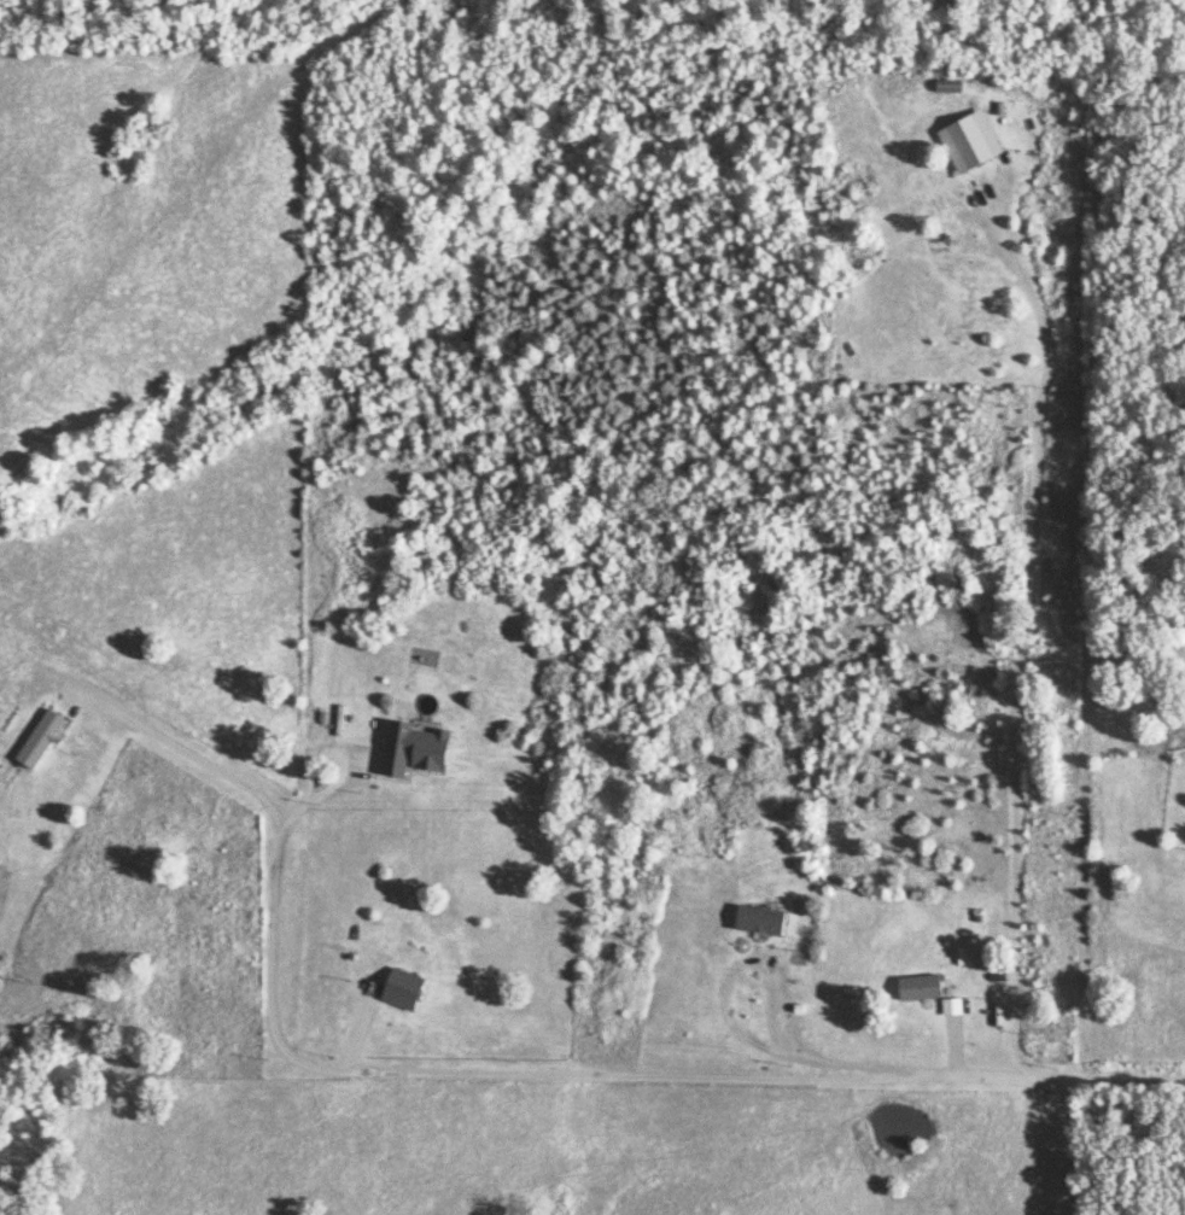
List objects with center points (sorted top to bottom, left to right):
building: (964, 134)
road: (1022, 636)
building: (36, 741)
road: (340, 771)
building: (755, 922)
building: (352, 933)
building: (915, 989)
building: (398, 991)
road: (731, 1026)
road: (387, 1079)
road: (1066, 1083)

